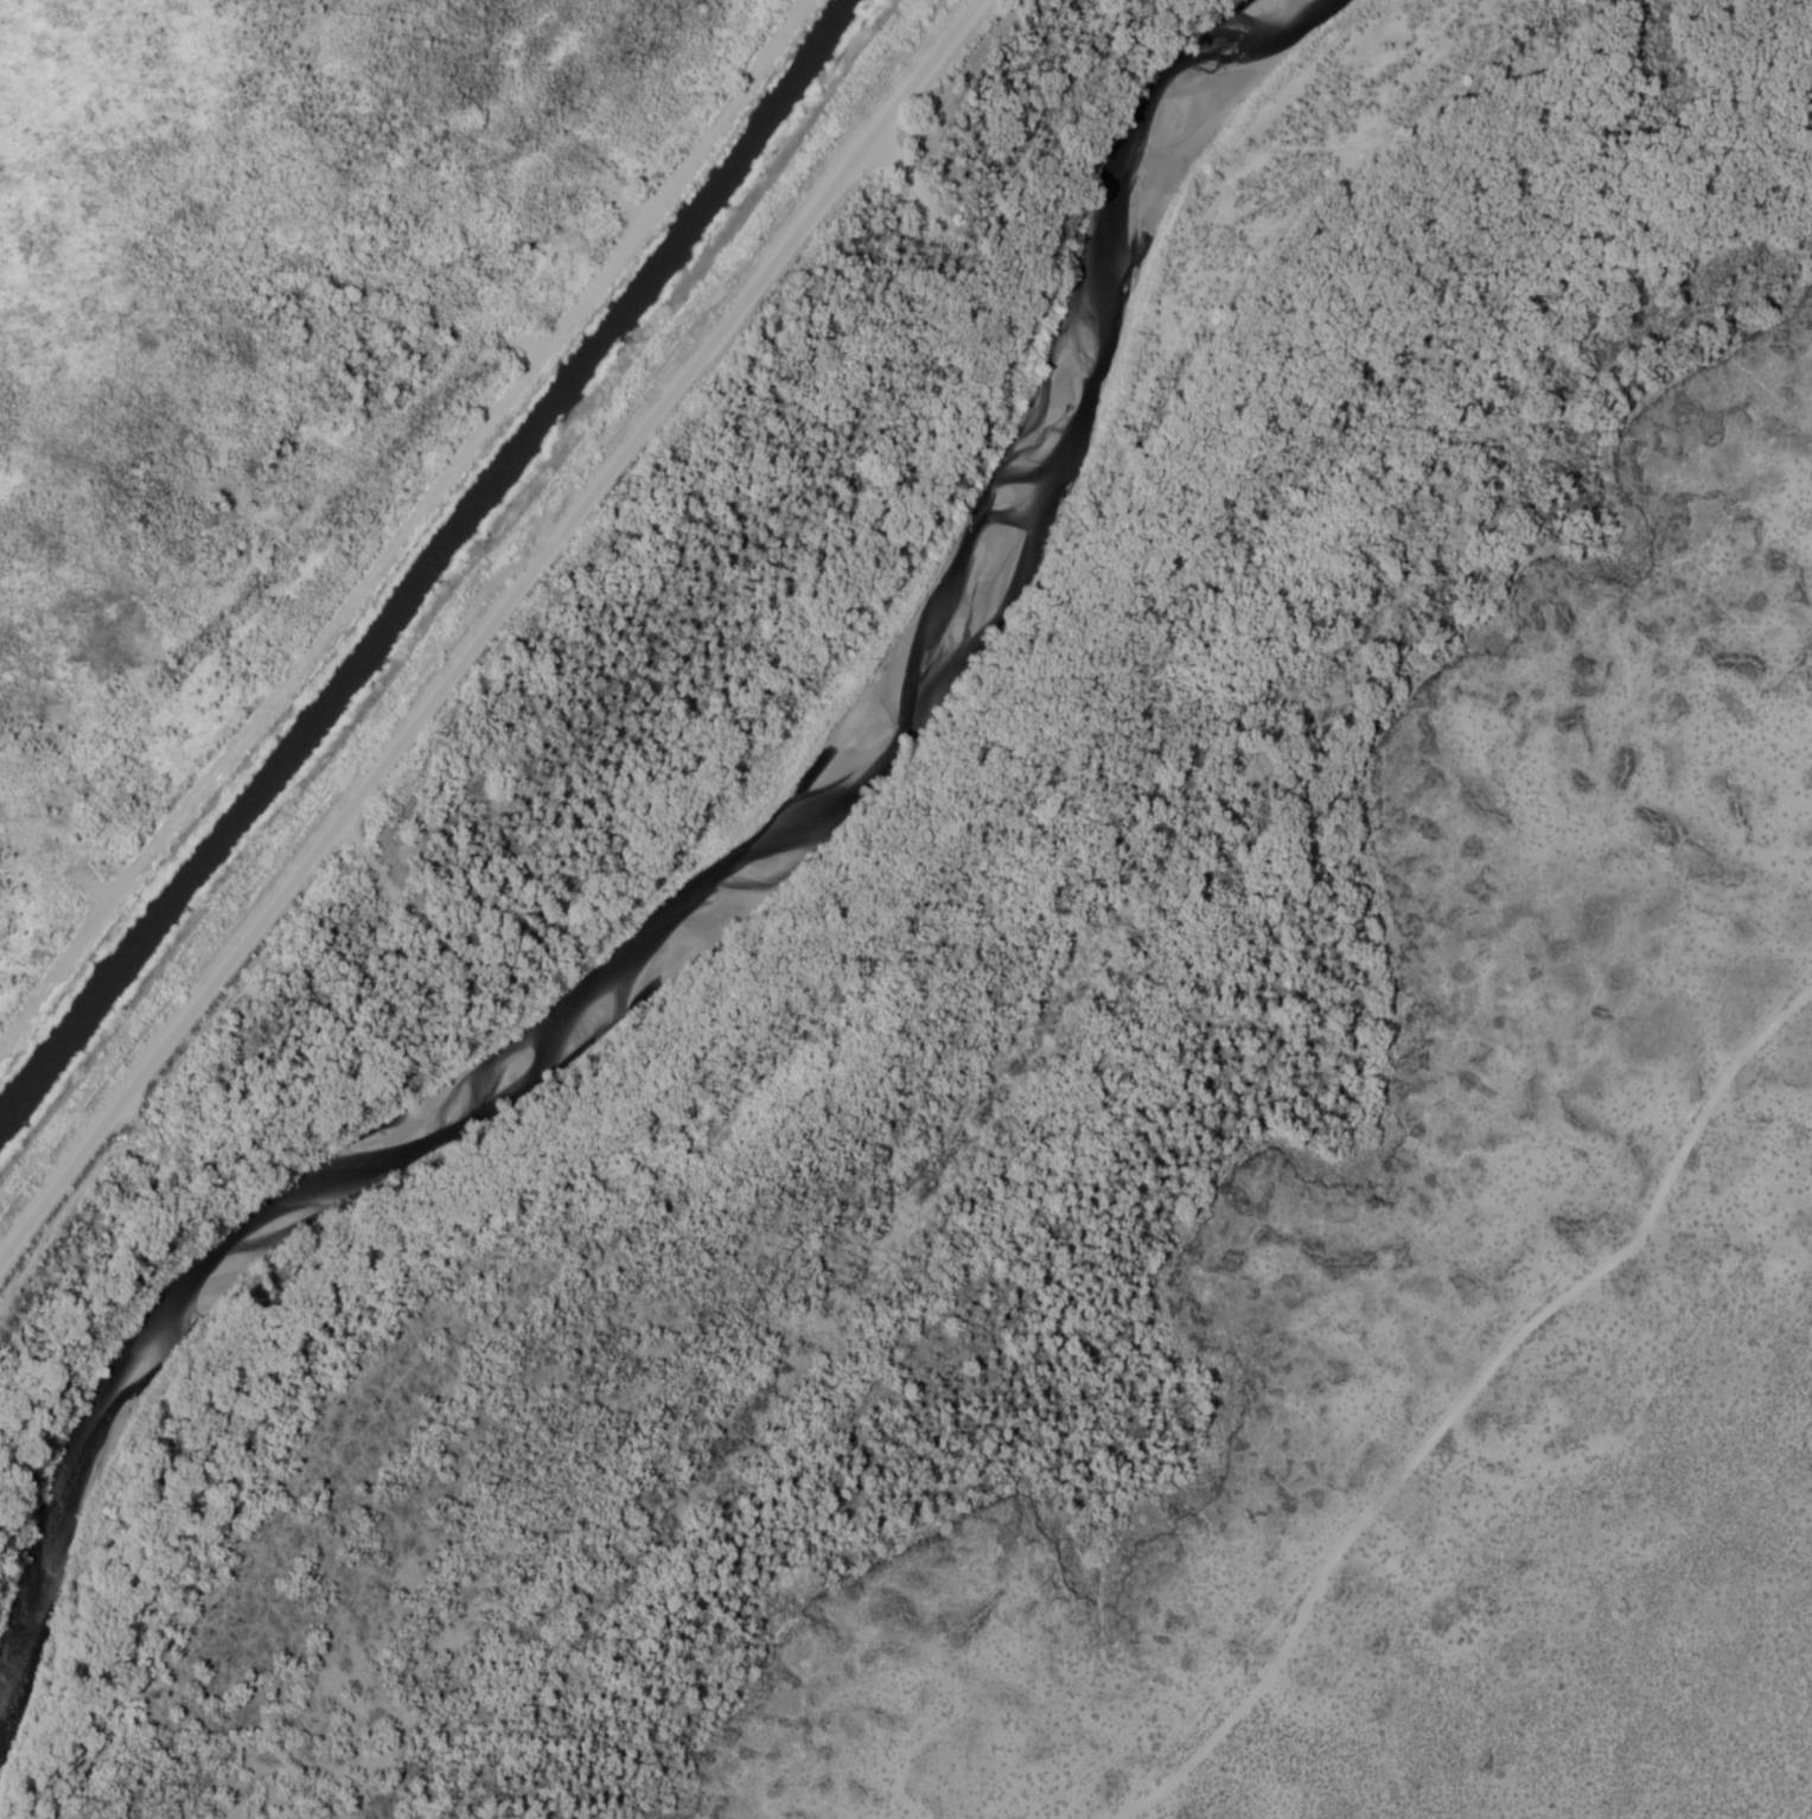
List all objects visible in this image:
road: (400, 519)
road: (478, 627)
river: (700, 899)

